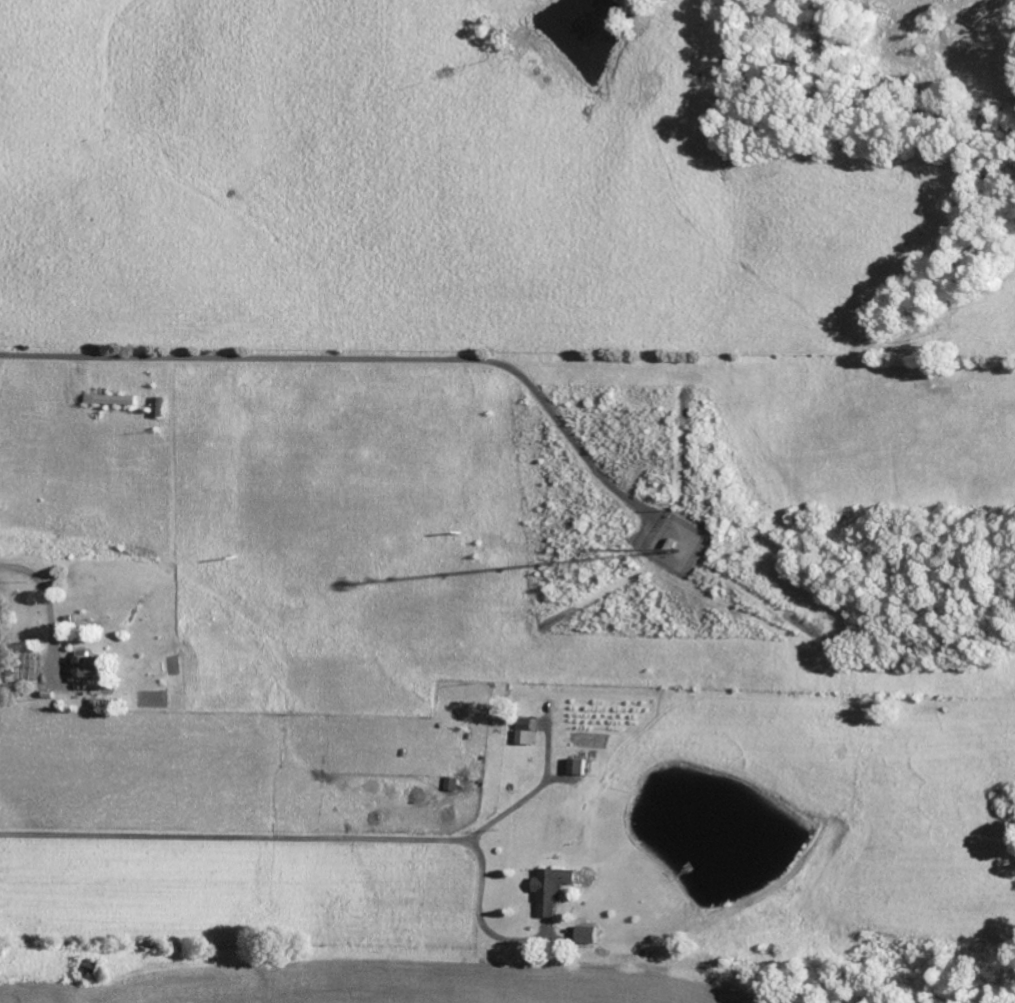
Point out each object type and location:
building: (111, 400)
building: (89, 666)
building: (525, 732)
building: (578, 767)
building: (554, 889)
building: (589, 936)

